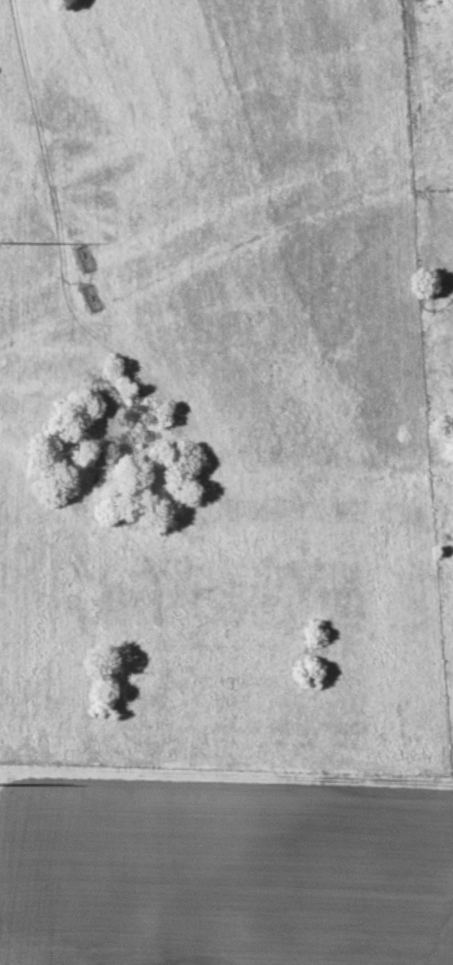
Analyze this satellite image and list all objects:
power tower: (3, 242)

